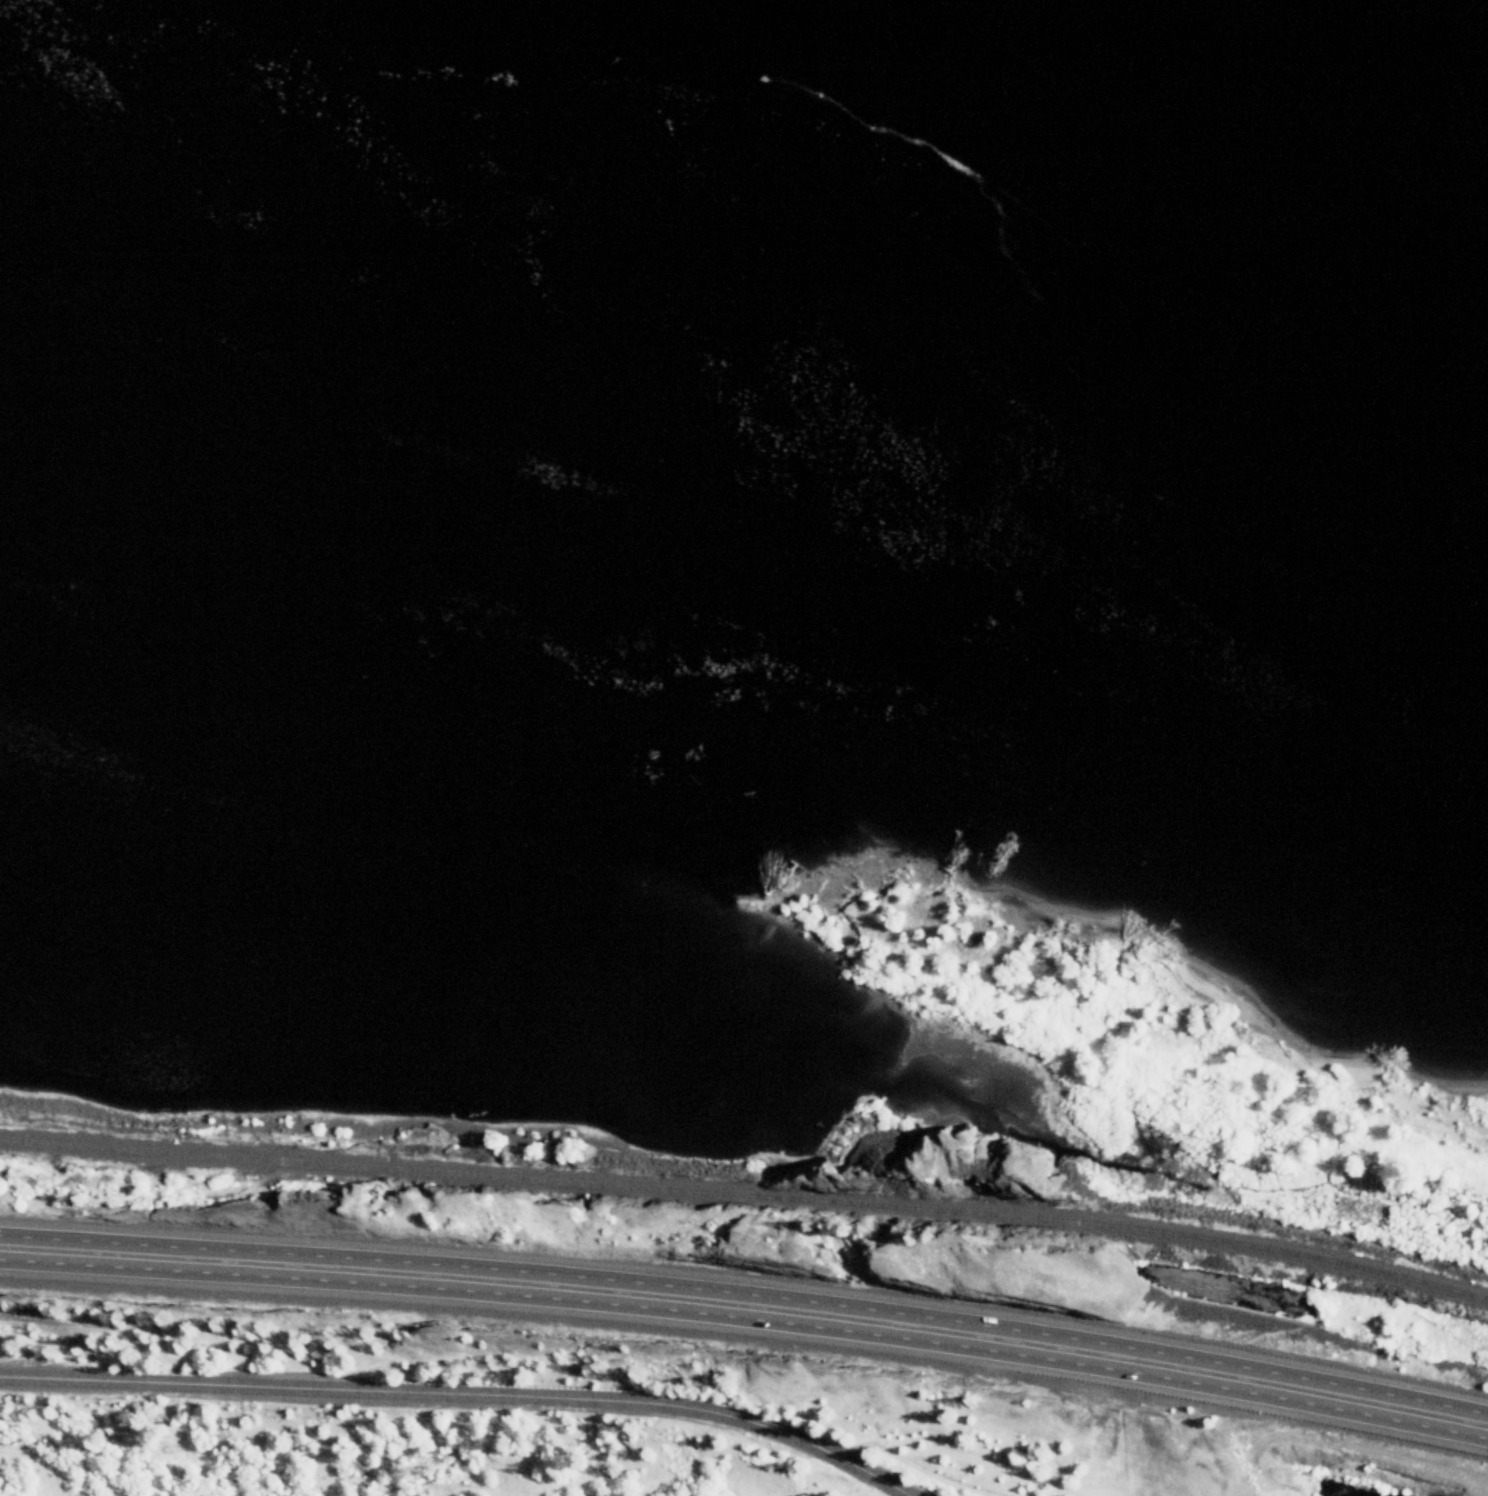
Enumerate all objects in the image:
railway: (747, 1197)
road: (747, 1293)
road: (747, 1319)
road: (371, 1390)
road: (829, 1451)

